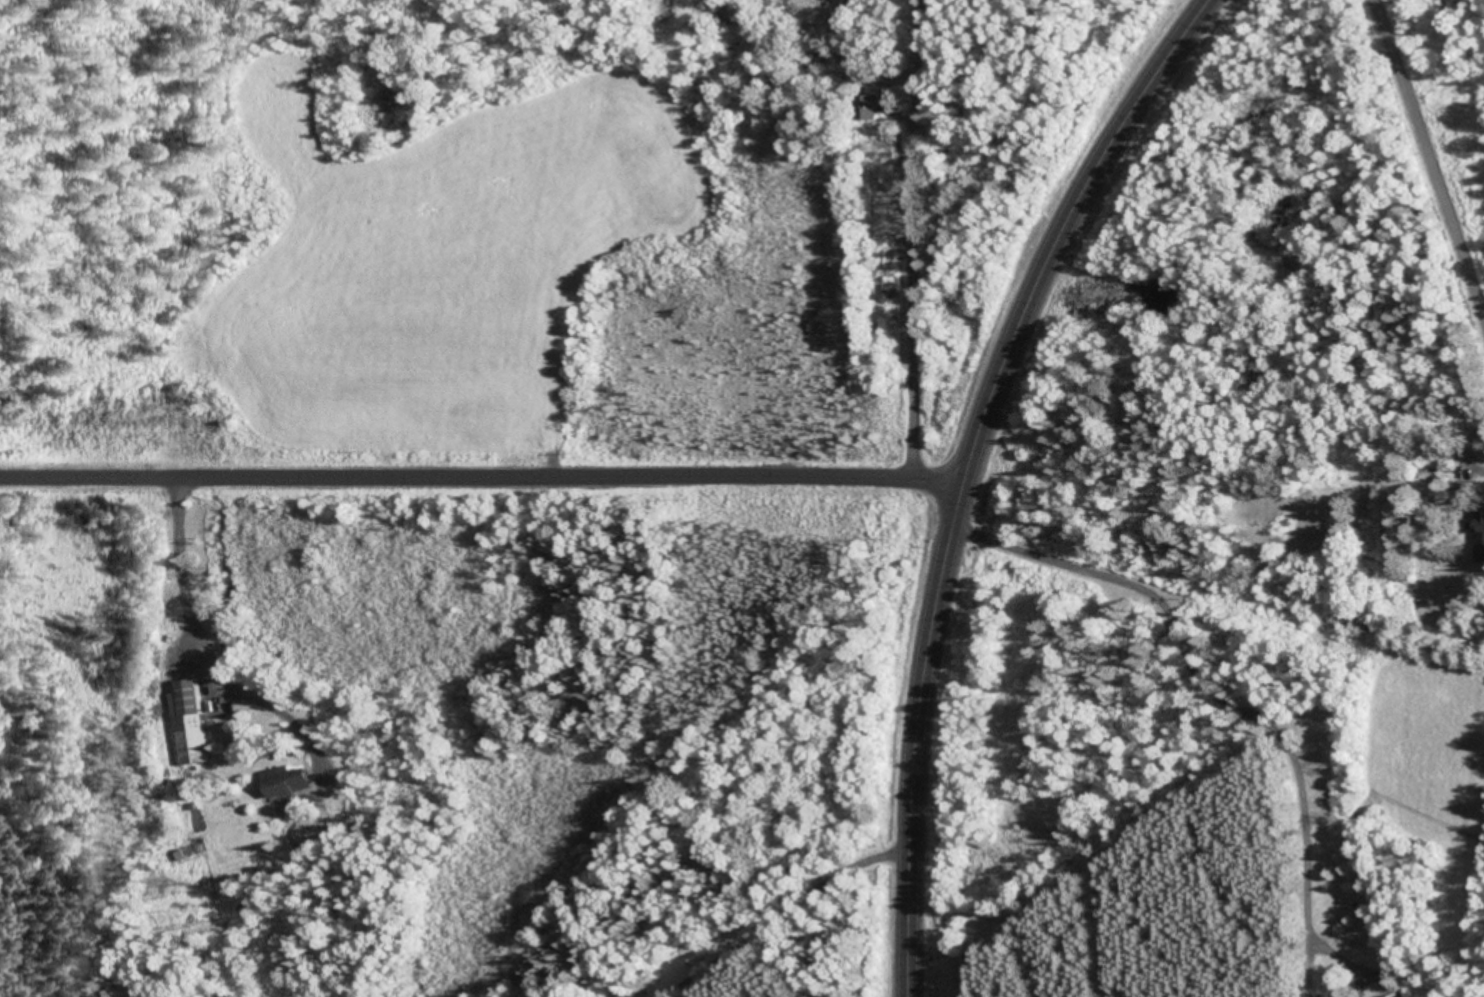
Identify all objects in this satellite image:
building: (726, 8)
building: (874, 104)
road: (1434, 147)
road: (912, 236)
building: (893, 286)
road: (961, 468)
road: (479, 474)
building: (1466, 490)
building: (1482, 532)
building: (191, 720)
building: (289, 778)
road: (770, 915)
building: (1388, 995)

